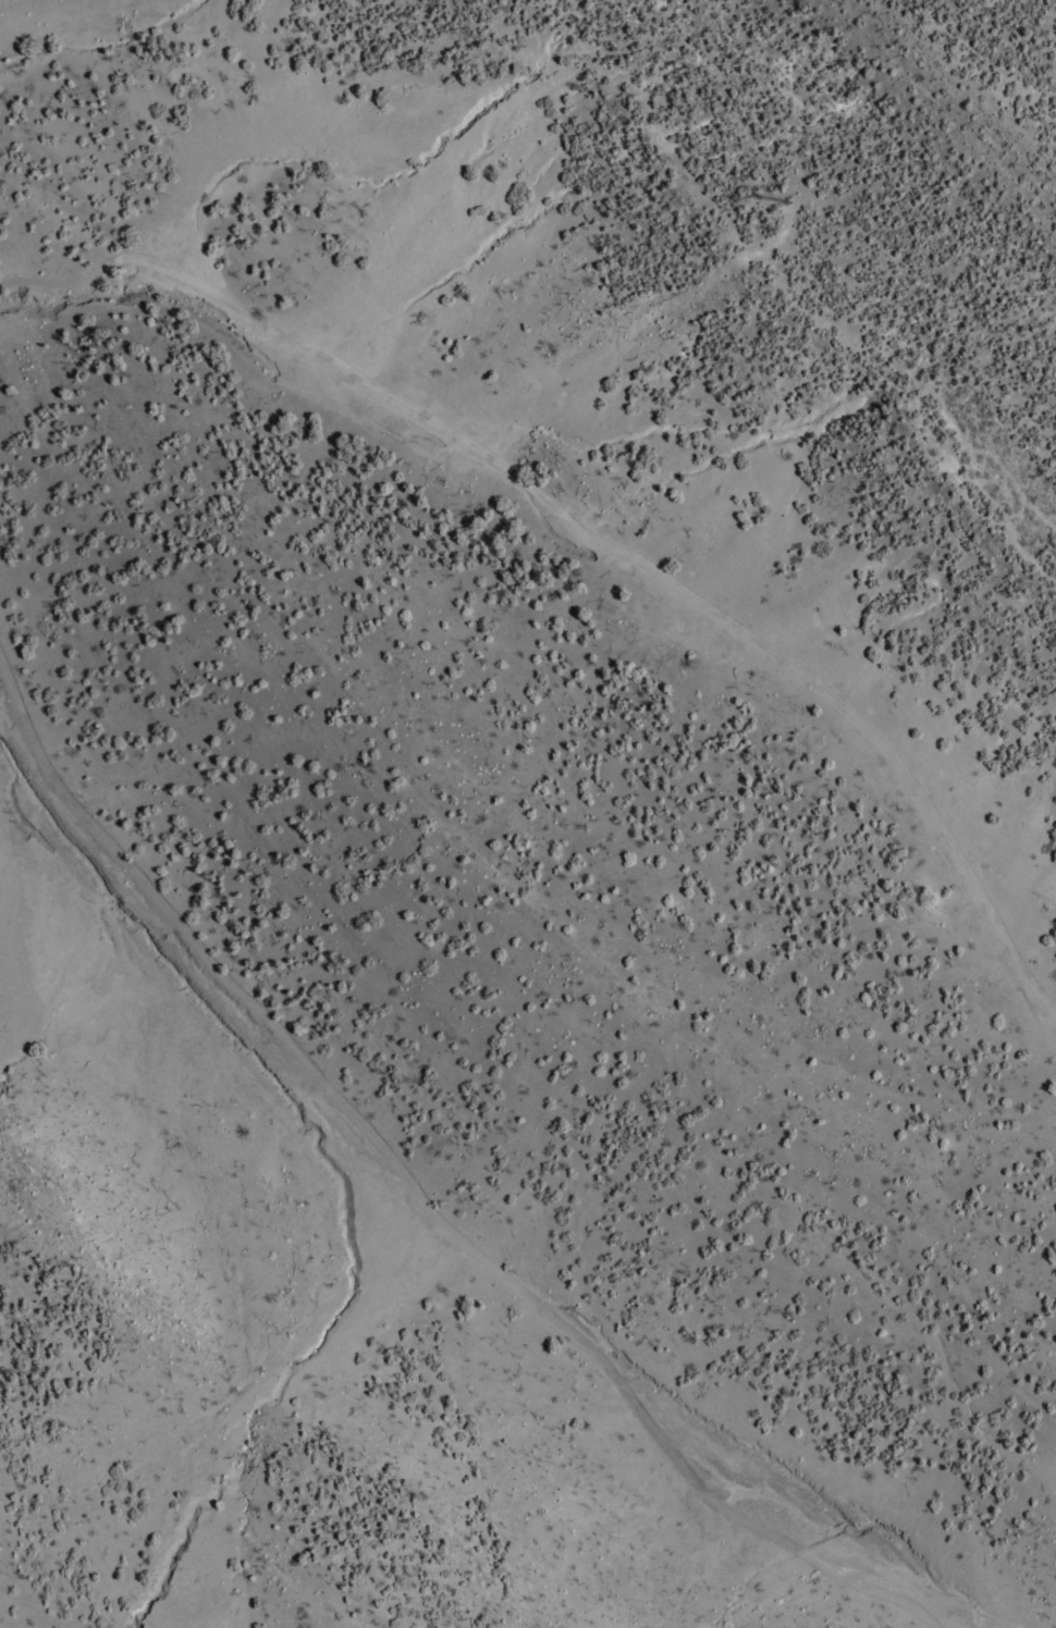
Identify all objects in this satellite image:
power tower: (786, 198)
road: (586, 541)

